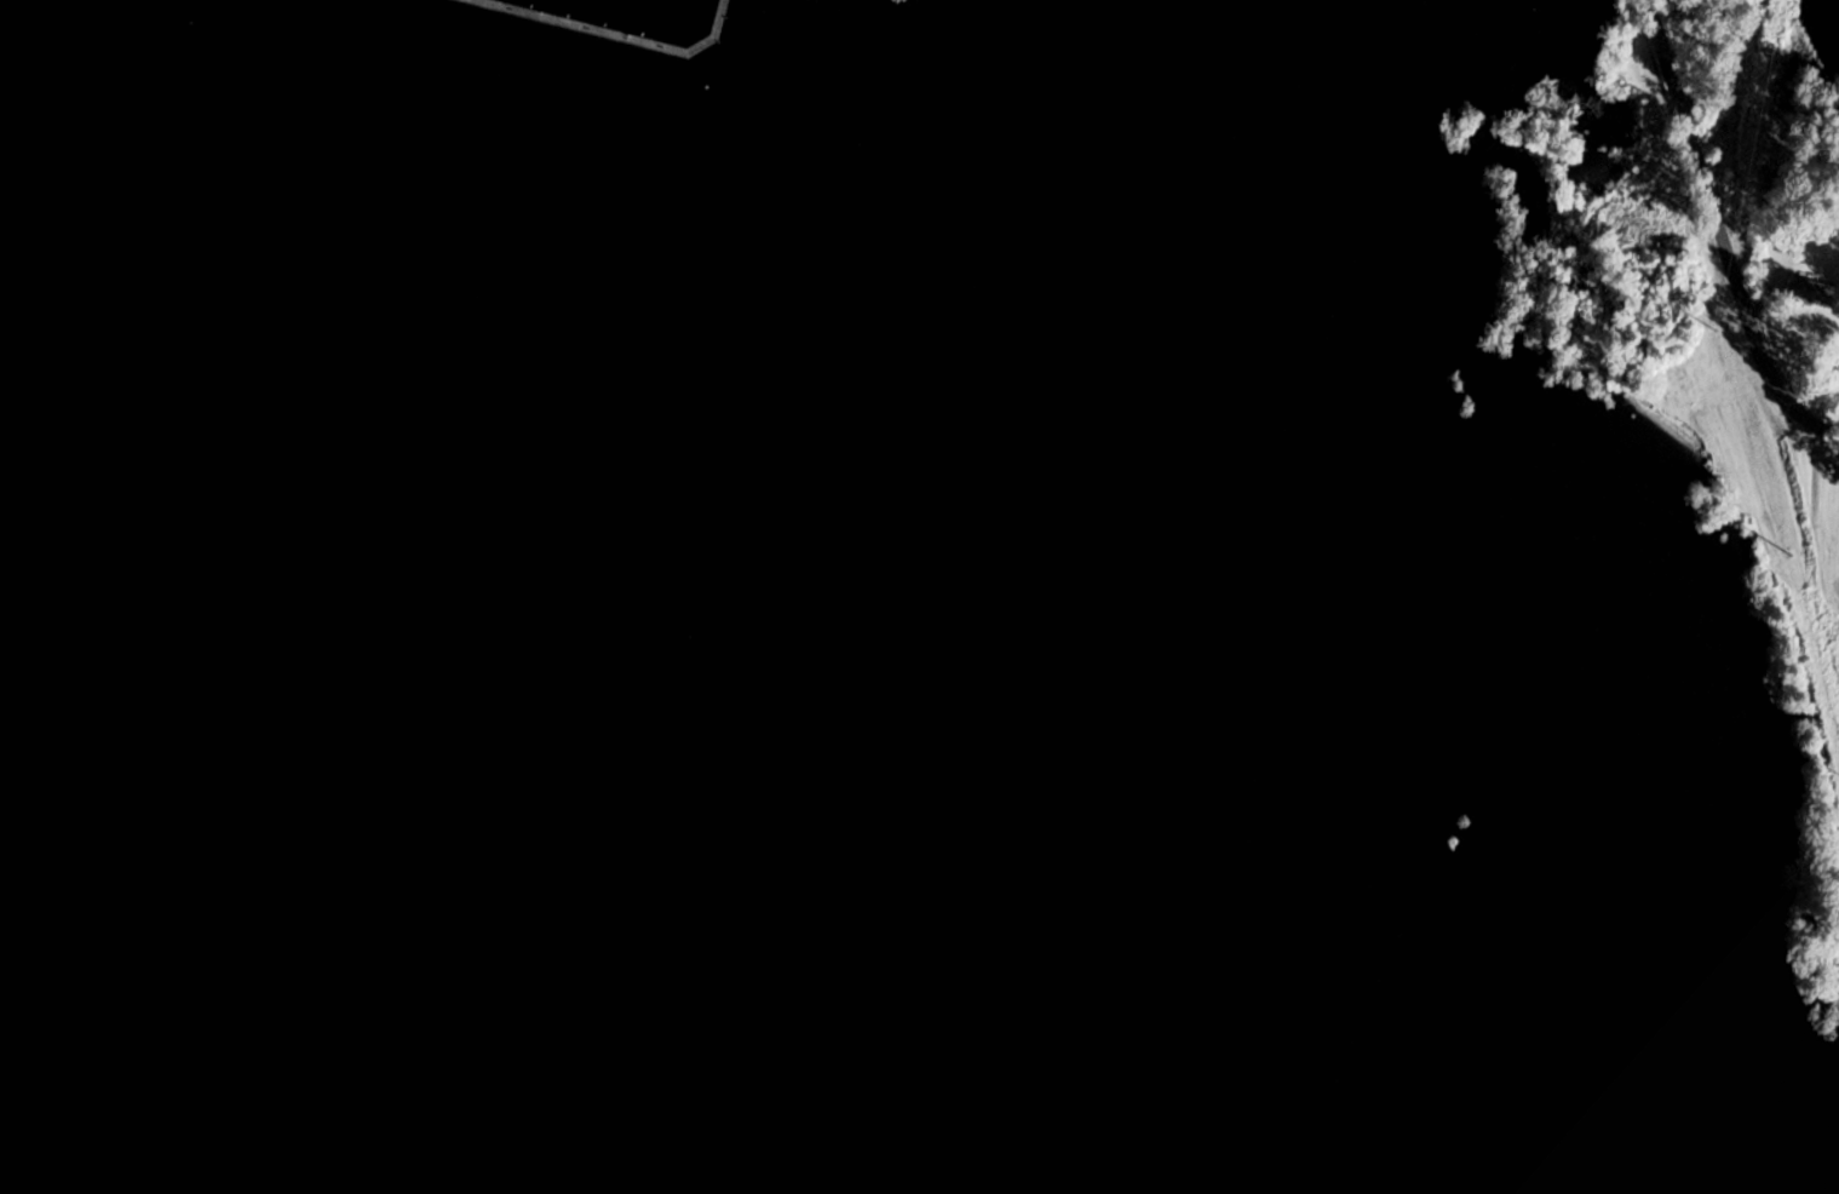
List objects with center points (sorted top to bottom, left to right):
pier: (614, 34)
road: (1722, 234)
building: (1811, 292)

